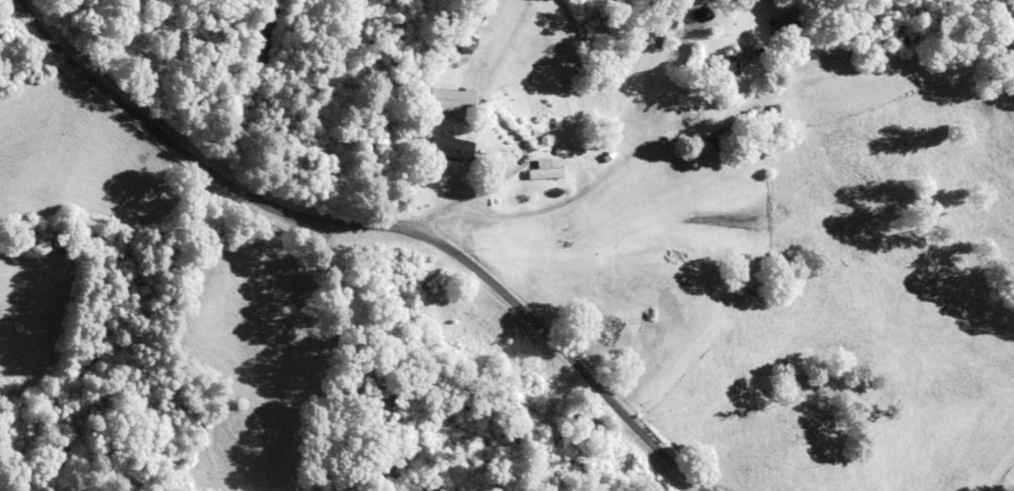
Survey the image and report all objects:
building: (772, 27)
building: (457, 45)
building: (713, 63)
building: (440, 102)
building: (436, 146)
building: (530, 170)
road: (587, 185)
road: (391, 230)
building: (384, 278)
building: (593, 329)
road: (312, 349)
building: (572, 420)

